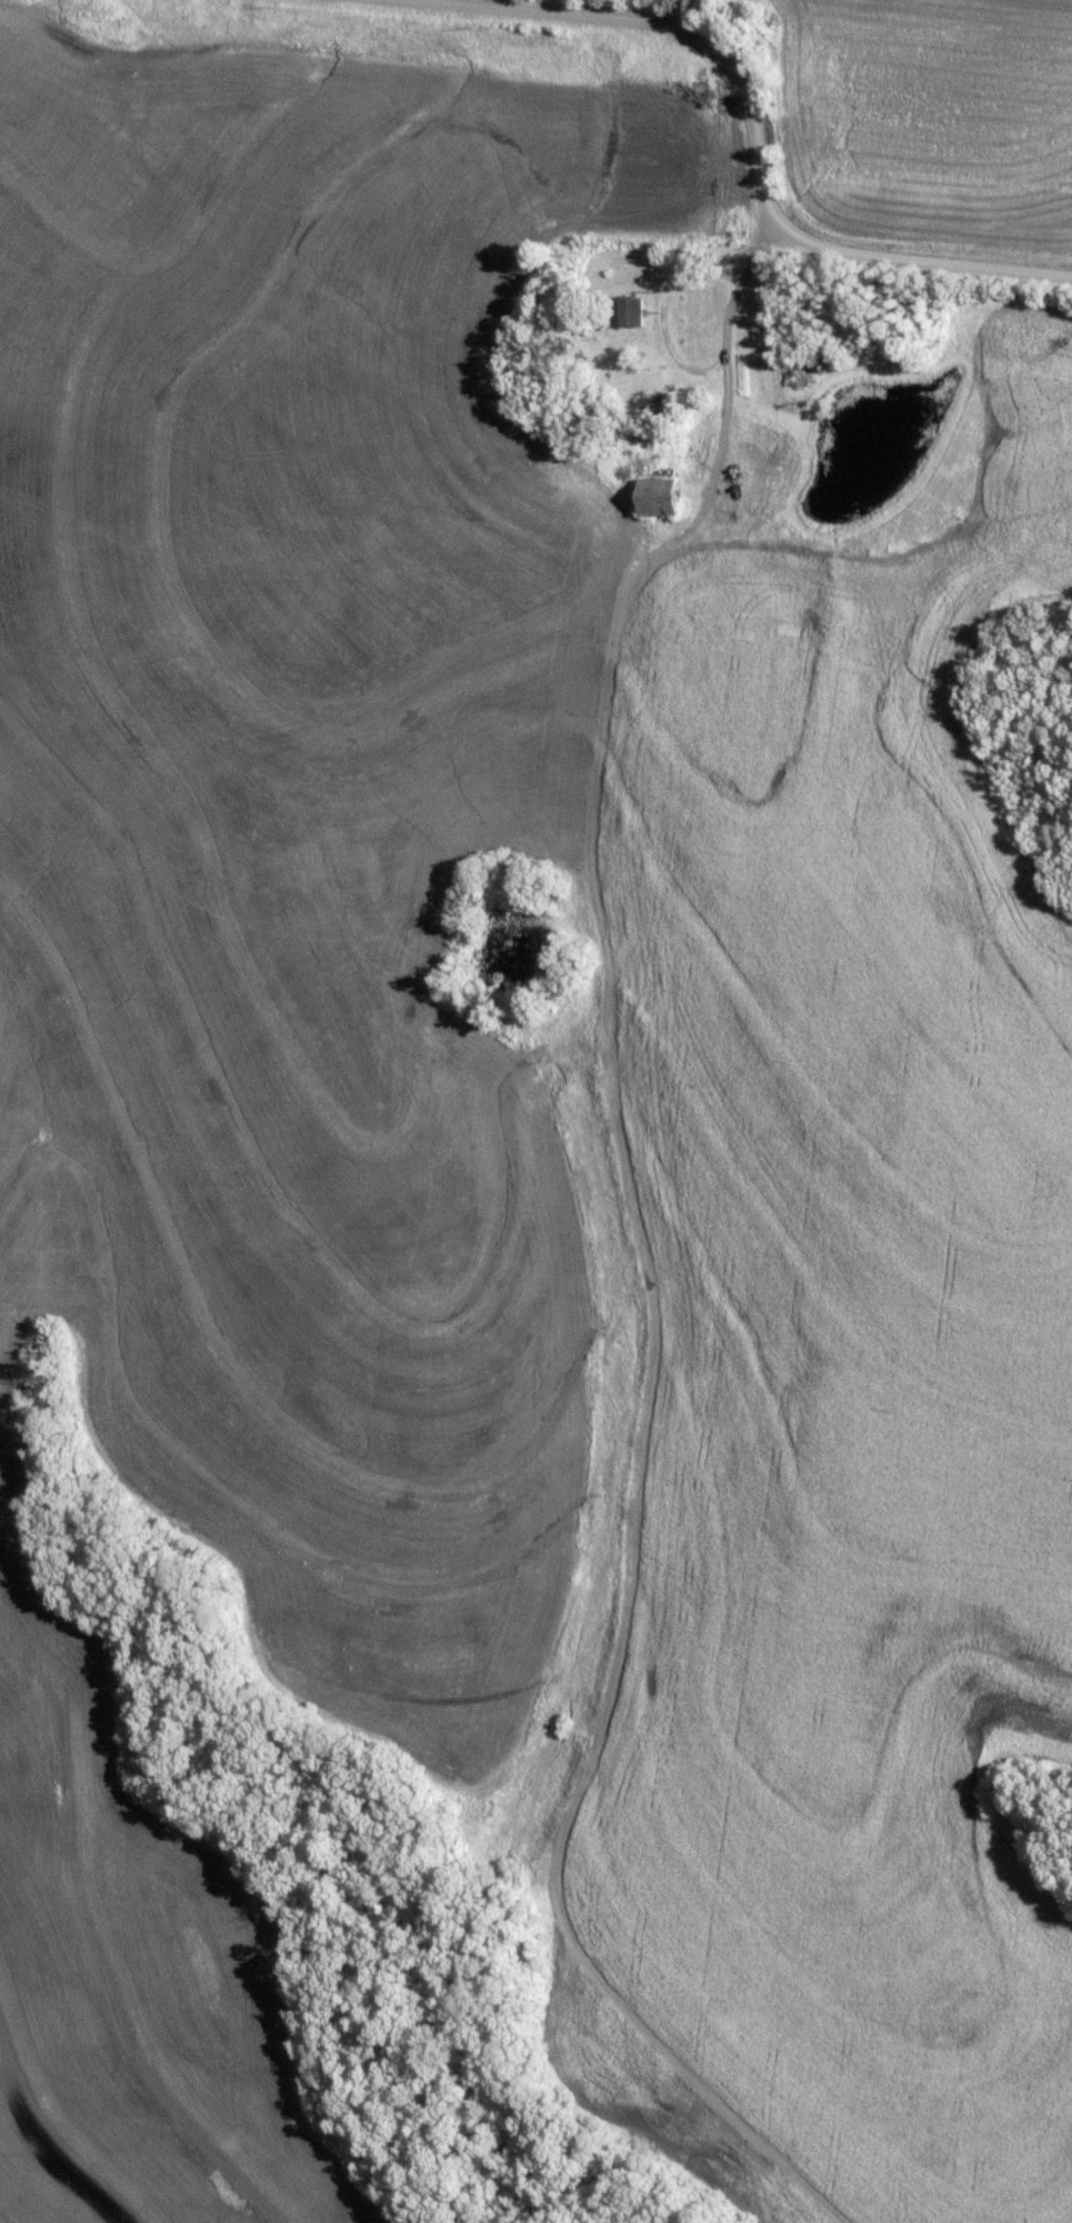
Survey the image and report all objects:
road: (743, 146)
building: (632, 311)
road: (720, 341)
building: (661, 495)

